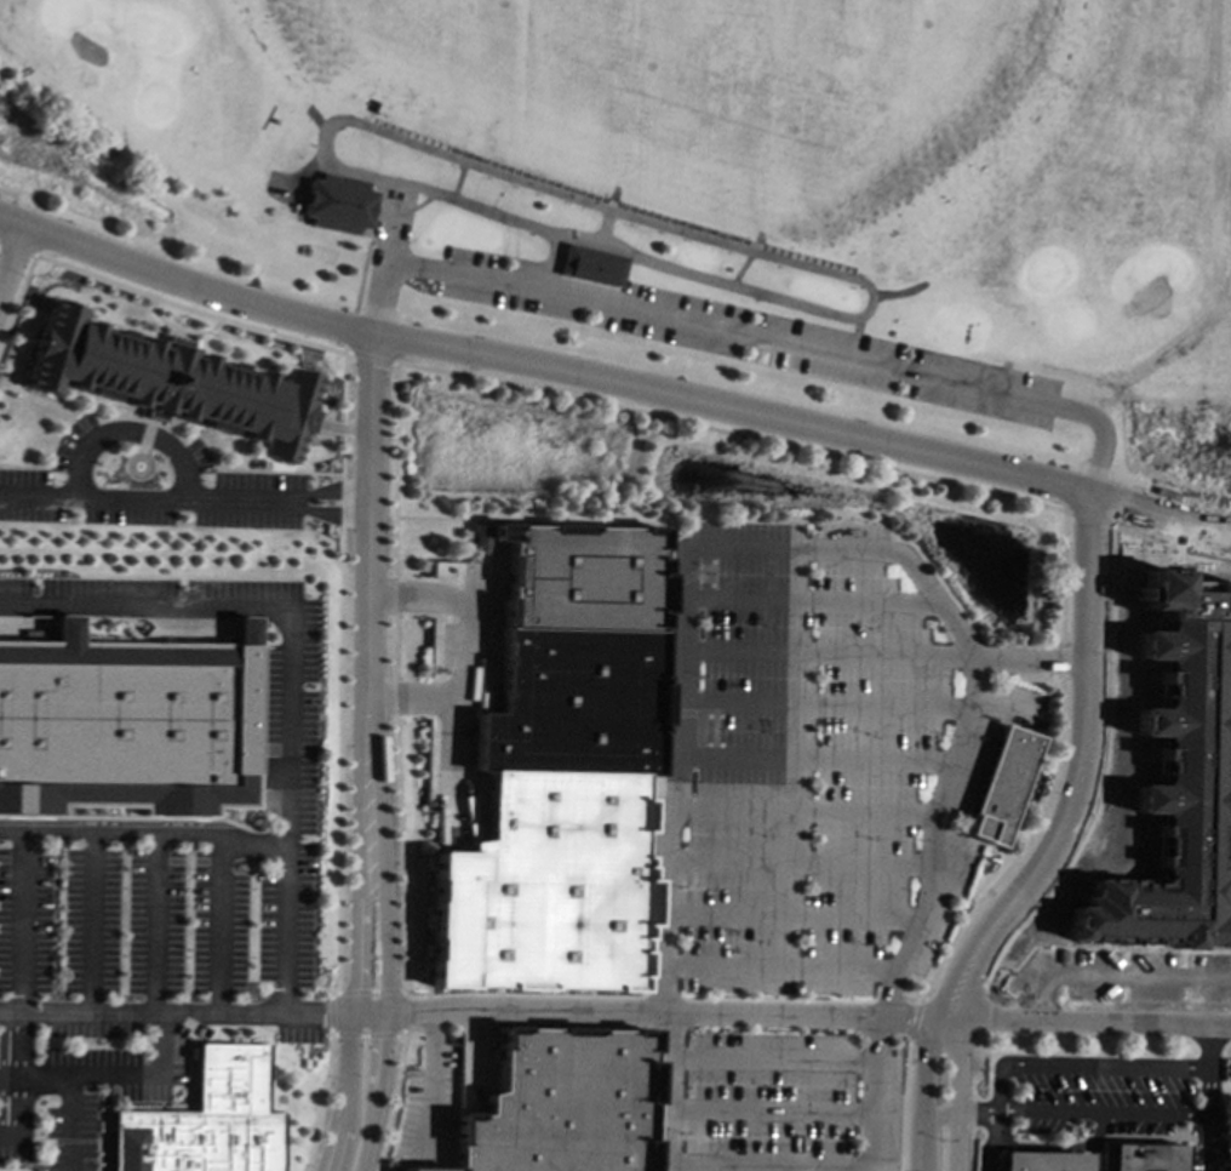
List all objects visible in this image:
road: (548, 190)
road: (8, 202)
building: (337, 202)
road: (12, 222)
road: (12, 267)
road: (362, 268)
building: (594, 268)
road: (385, 272)
road: (348, 332)
road: (750, 338)
parking lot: (755, 339)
road: (368, 358)
road: (555, 367)
building: (167, 381)
road: (131, 430)
road: (1107, 435)
road: (343, 467)
road: (332, 491)
road: (148, 499)
road: (1160, 510)
road: (332, 512)
road: (370, 514)
road: (1088, 519)
road: (809, 548)
road: (393, 555)
road: (808, 599)
road: (466, 649)
road: (826, 652)
road: (1030, 659)
road: (287, 669)
road: (824, 703)
parking lot: (1013, 707)
road: (1001, 708)
building: (126, 726)
parking lot: (800, 756)
road: (812, 759)
parking lot: (972, 764)
building: (560, 771)
road: (1078, 772)
road: (1103, 773)
building: (1173, 778)
building: (998, 786)
road: (802, 809)
road: (147, 838)
road: (795, 861)
parking lot: (941, 909)
road: (790, 913)
road: (19, 925)
road: (90, 925)
road: (151, 925)
road: (216, 925)
road: (385, 933)
road: (356, 935)
road: (777, 967)
road: (1107, 977)
road: (370, 990)
road: (949, 990)
road: (883, 992)
road: (642, 996)
road: (778, 999)
road: (402, 1010)
road: (615, 1011)
road: (330, 1013)
road: (910, 1017)
road: (366, 1035)
road: (1202, 1049)
road: (765, 1058)
road: (1122, 1067)
road: (113, 1078)
road: (425, 1081)
road: (17, 1083)
road: (917, 1091)
road: (950, 1093)
road: (322, 1099)
road: (390, 1099)
road: (647, 1101)
parking lot: (765, 1101)
building: (557, 1103)
road: (899, 1106)
road: (765, 1112)
road: (1097, 1112)
road: (981, 1118)
road: (70, 1124)
building: (207, 1124)
road: (1089, 1141)
building: (1135, 1156)
building: (1035, 1160)
road: (763, 1167)

